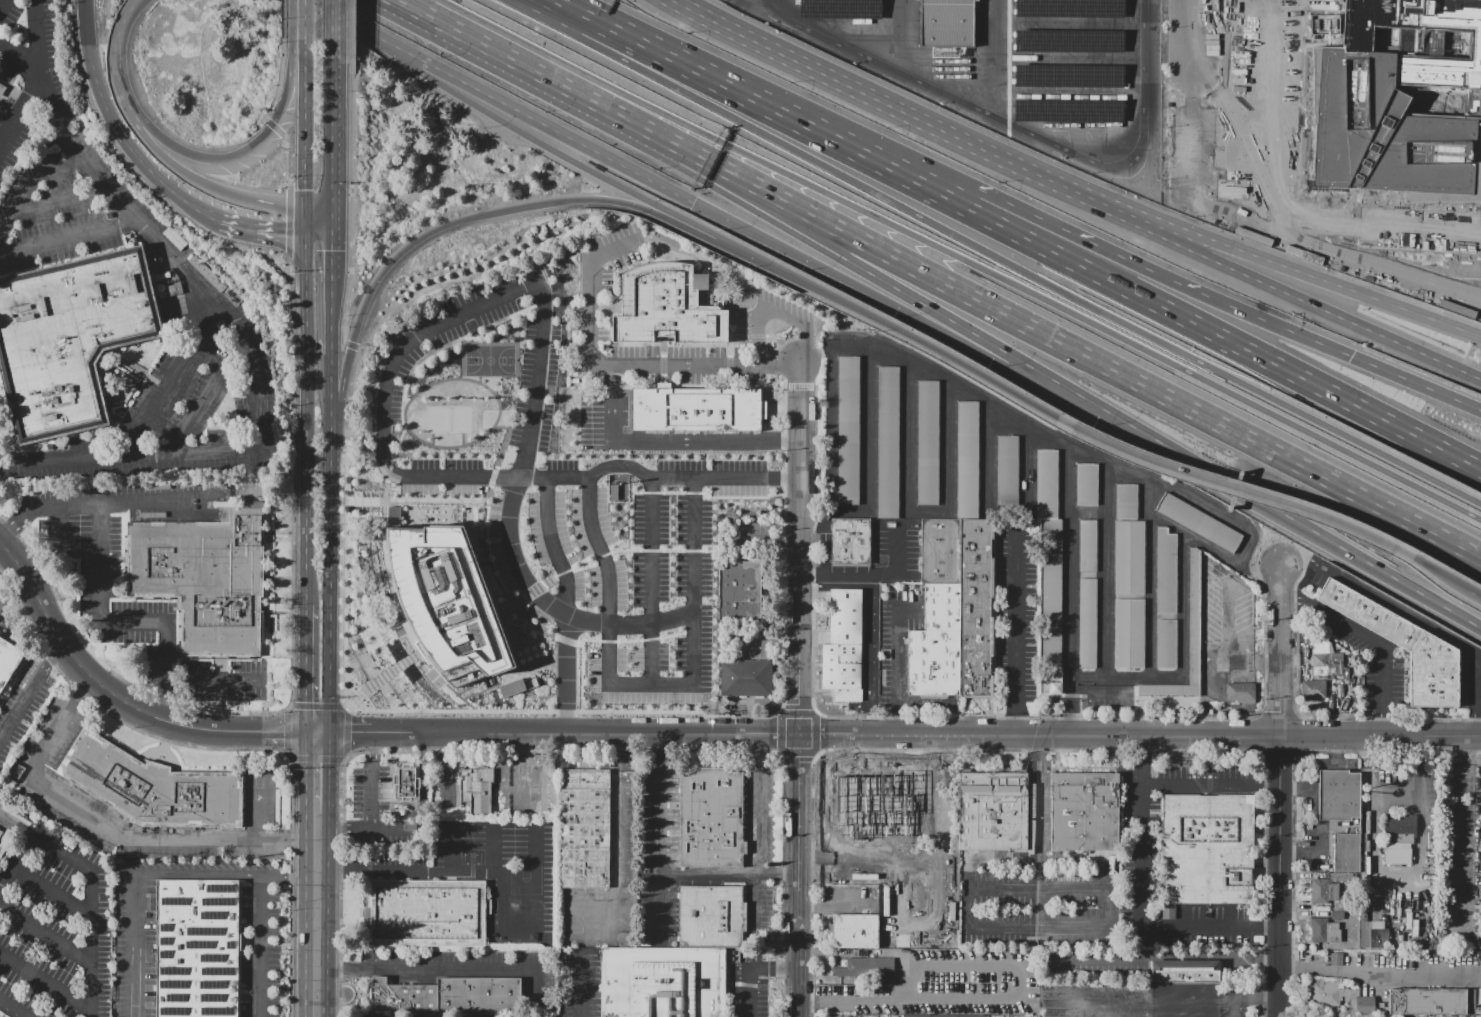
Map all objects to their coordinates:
road: (560, 2)
road: (770, 5)
road: (3, 6)
road: (396, 7)
building: (1071, 9)
road: (538, 10)
building: (839, 10)
road: (283, 11)
road: (330, 12)
road: (1185, 12)
road: (304, 17)
building: (1324, 23)
building: (949, 24)
road: (332, 25)
road: (351, 28)
road: (619, 31)
road: (385, 38)
road: (90, 39)
road: (1187, 39)
road: (376, 40)
building: (1070, 41)
road: (1319, 41)
road: (119, 44)
building: (1424, 44)
road: (304, 46)
road: (600, 48)
road: (1219, 51)
road: (552, 57)
road: (18, 59)
road: (304, 68)
road: (279, 71)
road: (454, 72)
road: (528, 75)
building: (1070, 76)
road: (1190, 76)
road: (11, 78)
road: (833, 78)
road: (436, 82)
road: (938, 89)
building: (2, 90)
road: (1195, 96)
road: (1284, 99)
road: (1143, 100)
road: (767, 105)
road: (108, 110)
road: (23, 111)
road: (718, 111)
building: (1068, 112)
road: (543, 121)
road: (511, 125)
road: (273, 126)
road: (331, 128)
building: (1385, 134)
road: (305, 142)
road: (722, 142)
road: (1193, 152)
parking lot: (1294, 152)
road: (683, 153)
road: (672, 154)
road: (290, 156)
road: (228, 157)
road: (575, 162)
road: (61, 165)
road: (909, 166)
road: (1234, 166)
road: (903, 173)
road: (639, 174)
road: (158, 179)
road: (194, 179)
road: (848, 180)
road: (742, 181)
road: (1065, 183)
road: (1304, 186)
road: (1062, 188)
traffic signals: (305, 190)
road: (727, 192)
road: (1274, 195)
road: (837, 198)
road: (61, 199)
road: (350, 199)
road: (648, 200)
road: (689, 200)
road: (621, 202)
traffic signals: (694, 203)
road: (17, 205)
road: (317, 207)
road: (514, 210)
road: (718, 215)
road: (1035, 217)
road: (288, 220)
road: (824, 221)
road: (304, 222)
road: (331, 222)
road: (1172, 224)
road: (143, 227)
road: (249, 229)
road: (712, 233)
road: (1024, 234)
traffic signals: (286, 235)
road: (68, 237)
road: (318, 237)
road: (707, 237)
road: (417, 239)
road: (1165, 239)
road: (816, 242)
traffic signals: (331, 251)
road: (803, 258)
road: (997, 258)
road: (331, 259)
road: (783, 270)
road: (988, 271)
road: (781, 272)
road: (591, 285)
road: (1346, 288)
road: (975, 299)
road: (847, 303)
building: (670, 305)
road: (775, 307)
road: (1233, 307)
road: (331, 317)
road: (1342, 318)
road: (358, 324)
road: (961, 326)
road: (954, 335)
building: (70, 339)
road: (350, 344)
road: (947, 353)
traffic signals: (1353, 357)
park: (493, 361)
road: (1, 363)
road: (695, 364)
road: (137, 369)
road: (1291, 372)
road: (172, 380)
road: (1417, 383)
road: (331, 395)
road: (207, 397)
road: (340, 400)
road: (1283, 404)
road: (1046, 409)
building: (697, 410)
road: (1280, 417)
road: (306, 420)
parking lot: (603, 420)
park: (451, 421)
road: (1115, 421)
road: (1034, 429)
building: (849, 430)
road: (669, 440)
building: (889, 442)
building: (928, 443)
road: (1270, 450)
road: (1, 452)
road: (130, 453)
building: (968, 460)
road: (800, 467)
building: (1008, 471)
road: (449, 476)
building: (1088, 485)
road: (1238, 486)
road: (90, 502)
road: (1263, 503)
parking lot: (583, 508)
road: (329, 515)
building: (392, 516)
road: (512, 522)
building: (1199, 522)
road: (61, 526)
road: (279, 532)
building: (1049, 534)
parking lot: (751, 536)
road: (823, 536)
road: (763, 537)
building: (1129, 541)
building: (851, 542)
building: (1088, 546)
road: (556, 547)
building: (941, 551)
road: (1477, 556)
road: (85, 557)
road: (124, 559)
road: (45, 560)
road: (99, 562)
road: (6, 571)
building: (1167, 572)
road: (871, 574)
road: (1449, 576)
road: (279, 577)
building: (208, 580)
road: (654, 582)
building: (739, 590)
building: (450, 604)
building: (978, 609)
road: (280, 613)
building: (1195, 618)
road: (133, 623)
building: (1088, 623)
road: (88, 626)
road: (868, 626)
road: (13, 628)
building: (1205, 628)
road: (1016, 633)
building: (1130, 634)
road: (764, 638)
road: (1372, 640)
parking lot: (749, 642)
building: (936, 644)
building: (1168, 645)
building: (1405, 647)
building: (844, 648)
road: (1280, 651)
road: (798, 653)
building: (1325, 654)
building: (1050, 660)
building: (1212, 662)
building: (9, 663)
building: (1238, 663)
road: (328, 664)
road: (224, 665)
road: (894, 665)
road: (306, 669)
road: (166, 672)
road: (292, 672)
road: (570, 673)
road: (214, 680)
building: (747, 680)
road: (100, 683)
road: (224, 685)
road: (651, 685)
road: (31, 689)
building: (1313, 689)
road: (1077, 691)
building: (1241, 692)
road: (941, 701)
road: (1477, 702)
road: (225, 706)
road: (286, 730)
road: (290, 732)
traffic signals: (319, 732)
road: (347, 732)
road: (854, 735)
road: (1350, 736)
road: (1373, 736)
road: (1431, 736)
road: (236, 748)
road: (1335, 750)
road: (1418, 763)
road: (1364, 765)
road: (527, 771)
road: (318, 772)
road: (443, 773)
building: (843, 774)
building: (867, 782)
building: (407, 783)
road: (1275, 784)
park: (260, 785)
building: (153, 786)
building: (480, 790)
road: (1397, 792)
road: (423, 793)
building: (1339, 796)
road: (758, 804)
road: (620, 809)
road: (797, 811)
building: (993, 812)
building: (1085, 812)
building: (911, 815)
building: (712, 819)
building: (579, 823)
road: (516, 828)
building: (0, 829)
road: (657, 829)
road: (1038, 832)
road: (1142, 832)
building: (1, 833)
road: (185, 836)
building: (841, 838)
building: (1399, 838)
road: (47, 840)
road: (451, 848)
building: (1206, 849)
road: (492, 850)
building: (2, 852)
building: (1346, 853)
road: (15, 857)
road: (428, 871)
road: (197, 874)
road: (538, 874)
building: (840, 874)
road: (1394, 874)
road: (726, 875)
road: (289, 876)
road: (1279, 877)
road: (1035, 887)
road: (52, 888)
building: (1323, 891)
road: (839, 907)
road: (967, 907)
building: (428, 913)
road: (318, 915)
building: (1337, 915)
building: (711, 916)
building: (948, 928)
road: (1036, 928)
road: (1209, 929)
building: (856, 930)
building: (1324, 931)
road: (46, 932)
building: (1378, 938)
road: (93, 942)
road: (246, 943)
road: (264, 944)
road: (132, 945)
road: (261, 945)
road: (285, 945)
building: (199, 949)
road: (797, 953)
road: (1162, 956)
building: (1336, 959)
road: (969, 964)
building: (866, 967)
road: (340, 969)
road: (451, 970)
road: (774, 970)
building: (1187, 971)
road: (1379, 977)
road: (46, 979)
building: (664, 982)
road: (1230, 986)
building: (1328, 992)
road: (582, 993)
road: (748, 993)
building: (447, 995)
road: (1255, 998)
road: (902, 999)
building: (1429, 1002)
building: (1365, 1005)
road: (15, 1007)
building: (1362, 1015)
building: (917, 1016)
building: (944, 1016)
building: (972, 1016)

